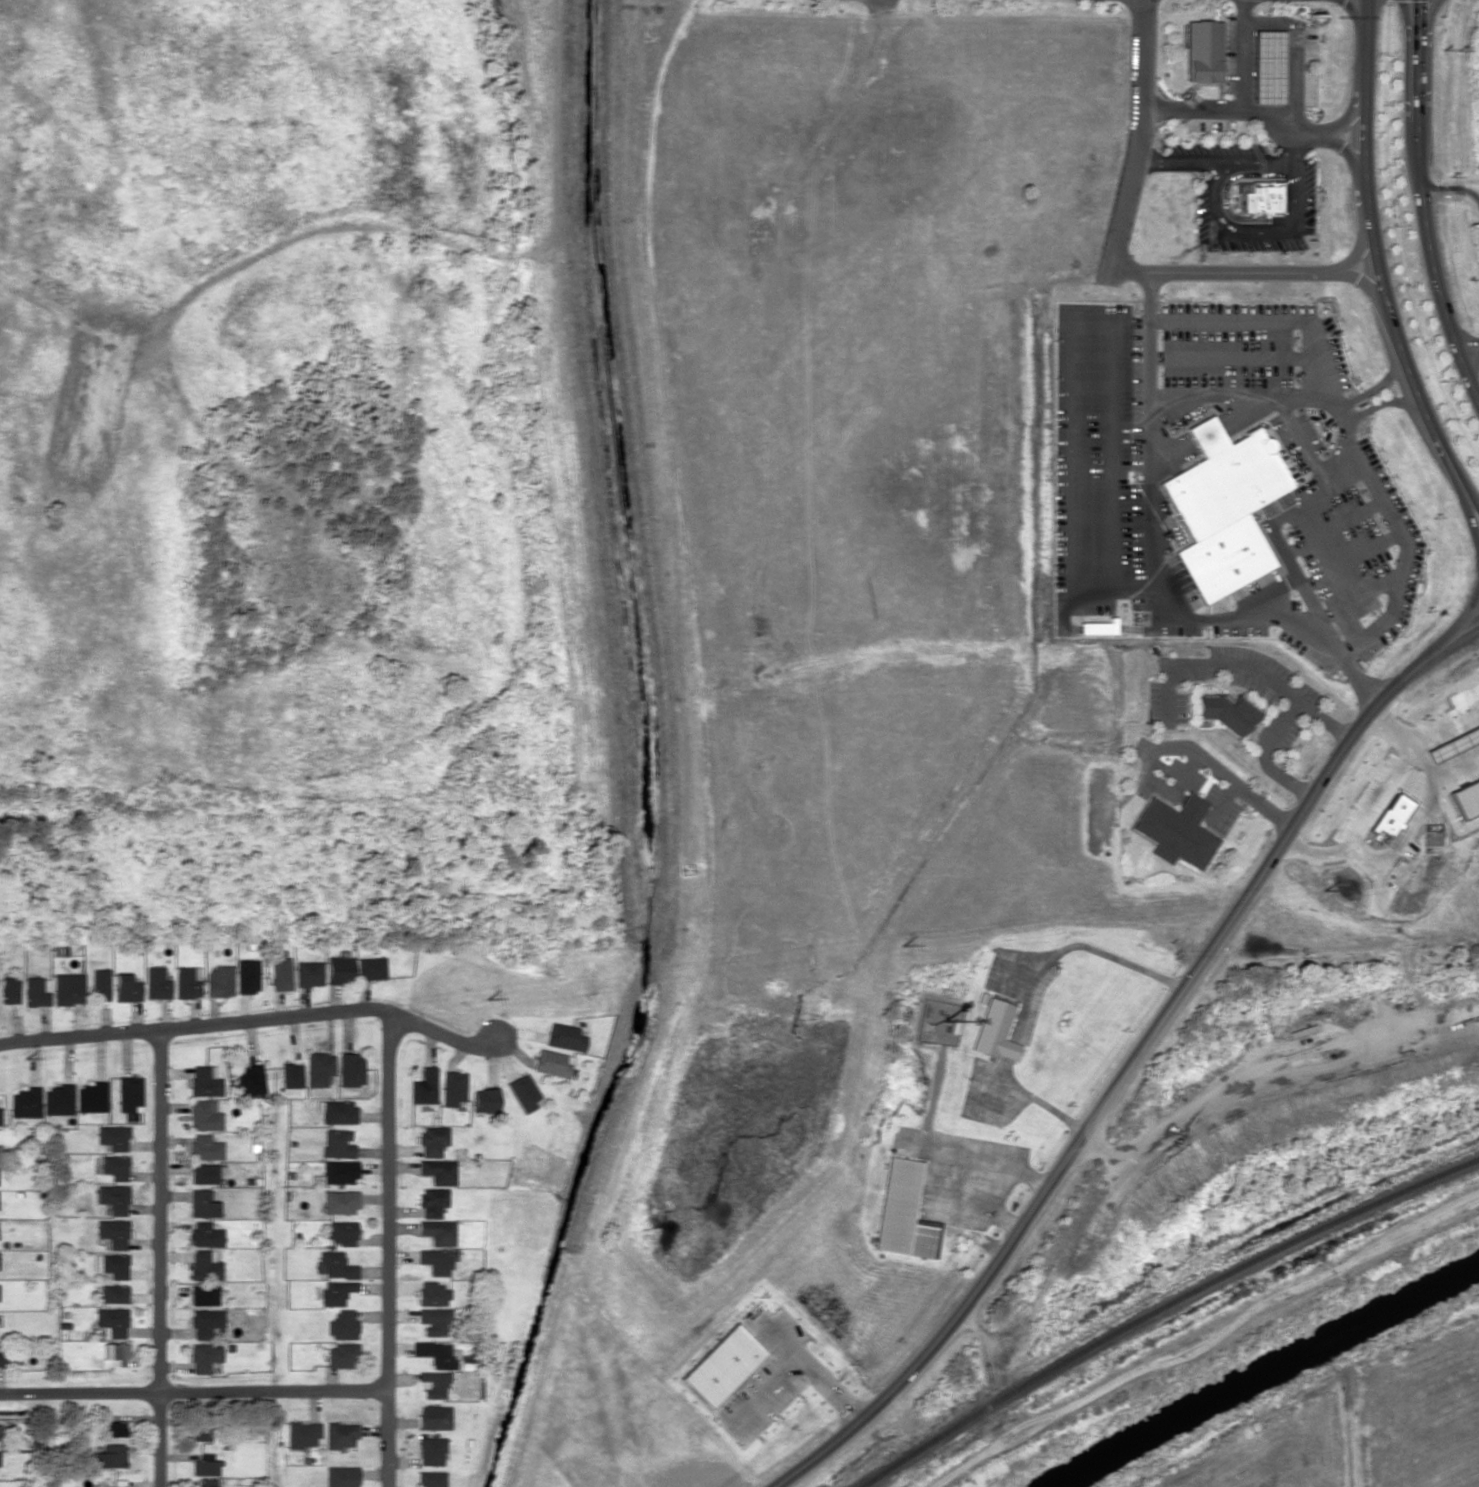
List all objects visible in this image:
road: (1422, 20)
building: (1201, 50)
road: (1286, 52)
building: (1266, 66)
road: (1238, 84)
road: (1190, 109)
road: (1315, 132)
road: (1177, 161)
building: (1263, 197)
road: (1422, 204)
road: (1221, 225)
road: (1117, 261)
road: (1380, 267)
road: (1468, 351)
building: (1225, 506)
building: (1099, 626)
building: (1228, 710)
building: (1466, 797)
building: (1391, 814)
building: (1176, 830)
power tower: (1325, 890)
power tower: (901, 945)
building: (371, 968)
building: (339, 969)
building: (281, 973)
building: (309, 973)
building: (247, 975)
building: (188, 981)
building: (220, 981)
building: (100, 983)
building: (157, 983)
building: (126, 987)
building: (68, 988)
building: (10, 989)
building: (36, 992)
power tower: (489, 999)
road: (250, 1021)
building: (995, 1030)
building: (564, 1036)
power tower: (28, 1058)
building: (551, 1062)
road: (1132, 1062)
building: (318, 1068)
building: (350, 1069)
building: (291, 1074)
building: (250, 1079)
building: (206, 1081)
building: (424, 1086)
building: (452, 1087)
building: (523, 1092)
building: (130, 1094)
building: (92, 1097)
building: (58, 1099)
building: (484, 1100)
building: (26, 1102)
building: (338, 1111)
building: (205, 1115)
building: (0, 1116)
building: (114, 1136)
building: (432, 1140)
building: (337, 1143)
building: (206, 1147)
building: (116, 1166)
building: (438, 1170)
building: (337, 1172)
building: (205, 1173)
building: (114, 1198)
building: (340, 1201)
building: (432, 1201)
building: (204, 1202)
building: (903, 1212)
building: (437, 1231)
building: (114, 1232)
building: (341, 1232)
building: (206, 1234)
road: (387, 1249)
road: (160, 1259)
building: (435, 1261)
building: (336, 1264)
building: (112, 1265)
building: (205, 1265)
building: (336, 1291)
building: (114, 1293)
building: (432, 1293)
building: (204, 1295)
railway: (1165, 1311)
building: (112, 1321)
building: (434, 1321)
building: (206, 1322)
building: (342, 1325)
building: (436, 1353)
building: (115, 1354)
building: (341, 1355)
building: (205, 1356)
building: (2, 1359)
river: (1264, 1371)
building: (434, 1383)
road: (192, 1388)
building: (433, 1417)
building: (115, 1428)
building: (0, 1431)
building: (203, 1432)
building: (302, 1433)
building: (340, 1434)
building: (430, 1450)
building: (111, 1456)
building: (206, 1467)
building: (340, 1476)
building: (430, 1478)
building: (120, 1484)
building: (102, 1486)
building: (203, 1486)

